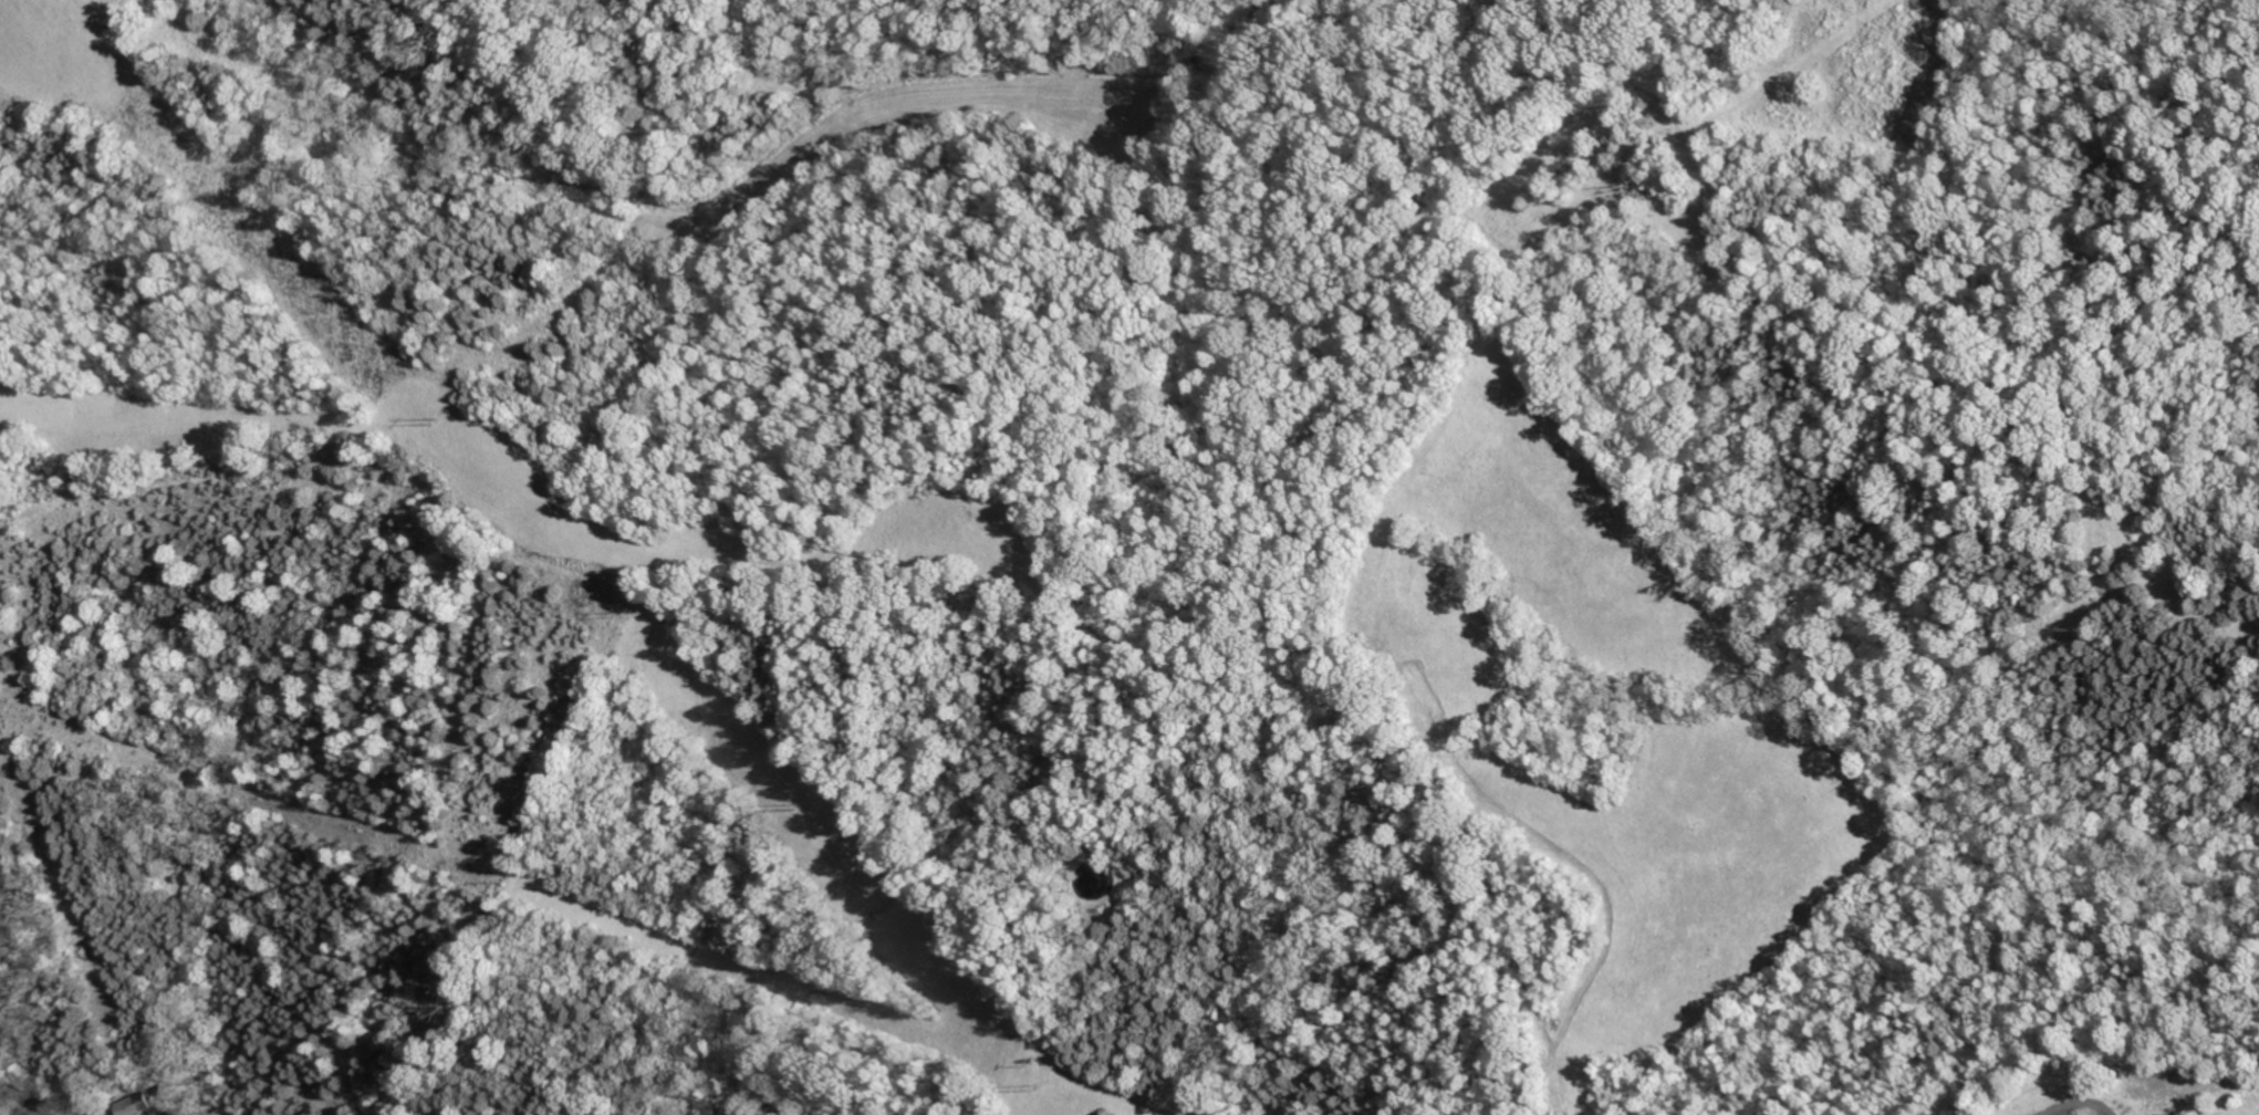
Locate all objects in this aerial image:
road: (23, 1101)
building: (133, 1105)
building: (2166, 1105)

